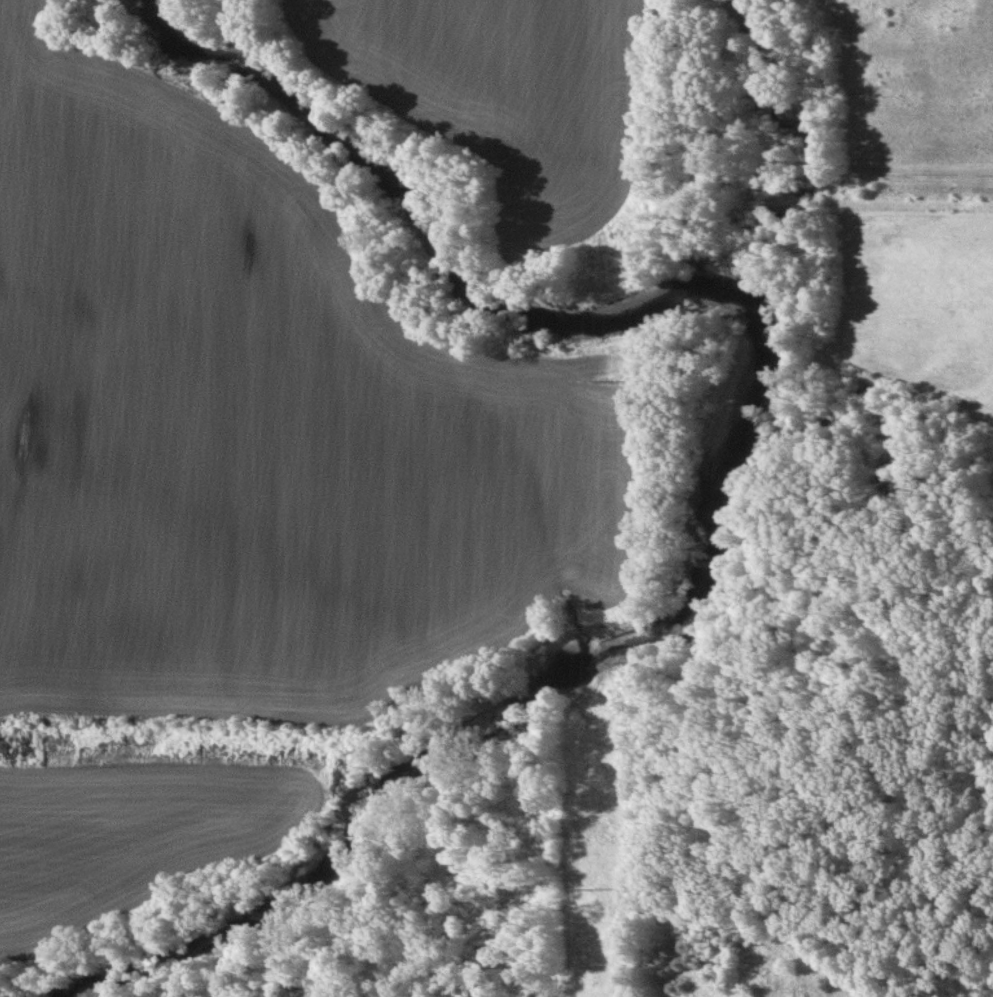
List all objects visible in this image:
power tower: (592, 384)
power tower: (591, 889)

